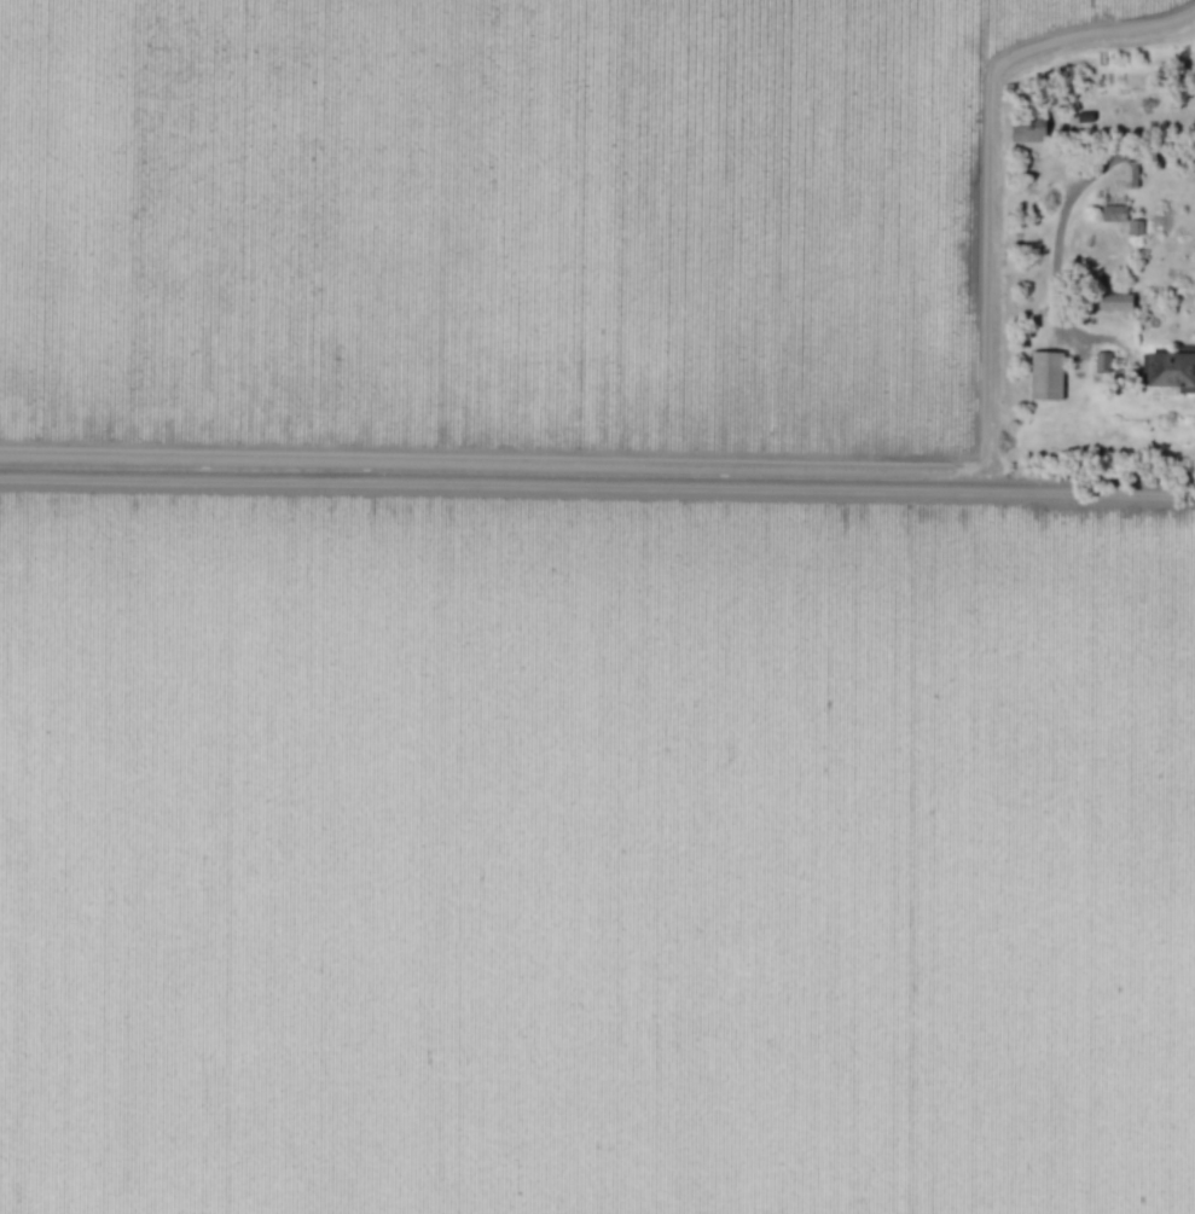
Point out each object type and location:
building: (1027, 127)
road: (1066, 204)
building: (1112, 213)
building: (1114, 302)
building: (1101, 362)
building: (1170, 370)
building: (1045, 374)

